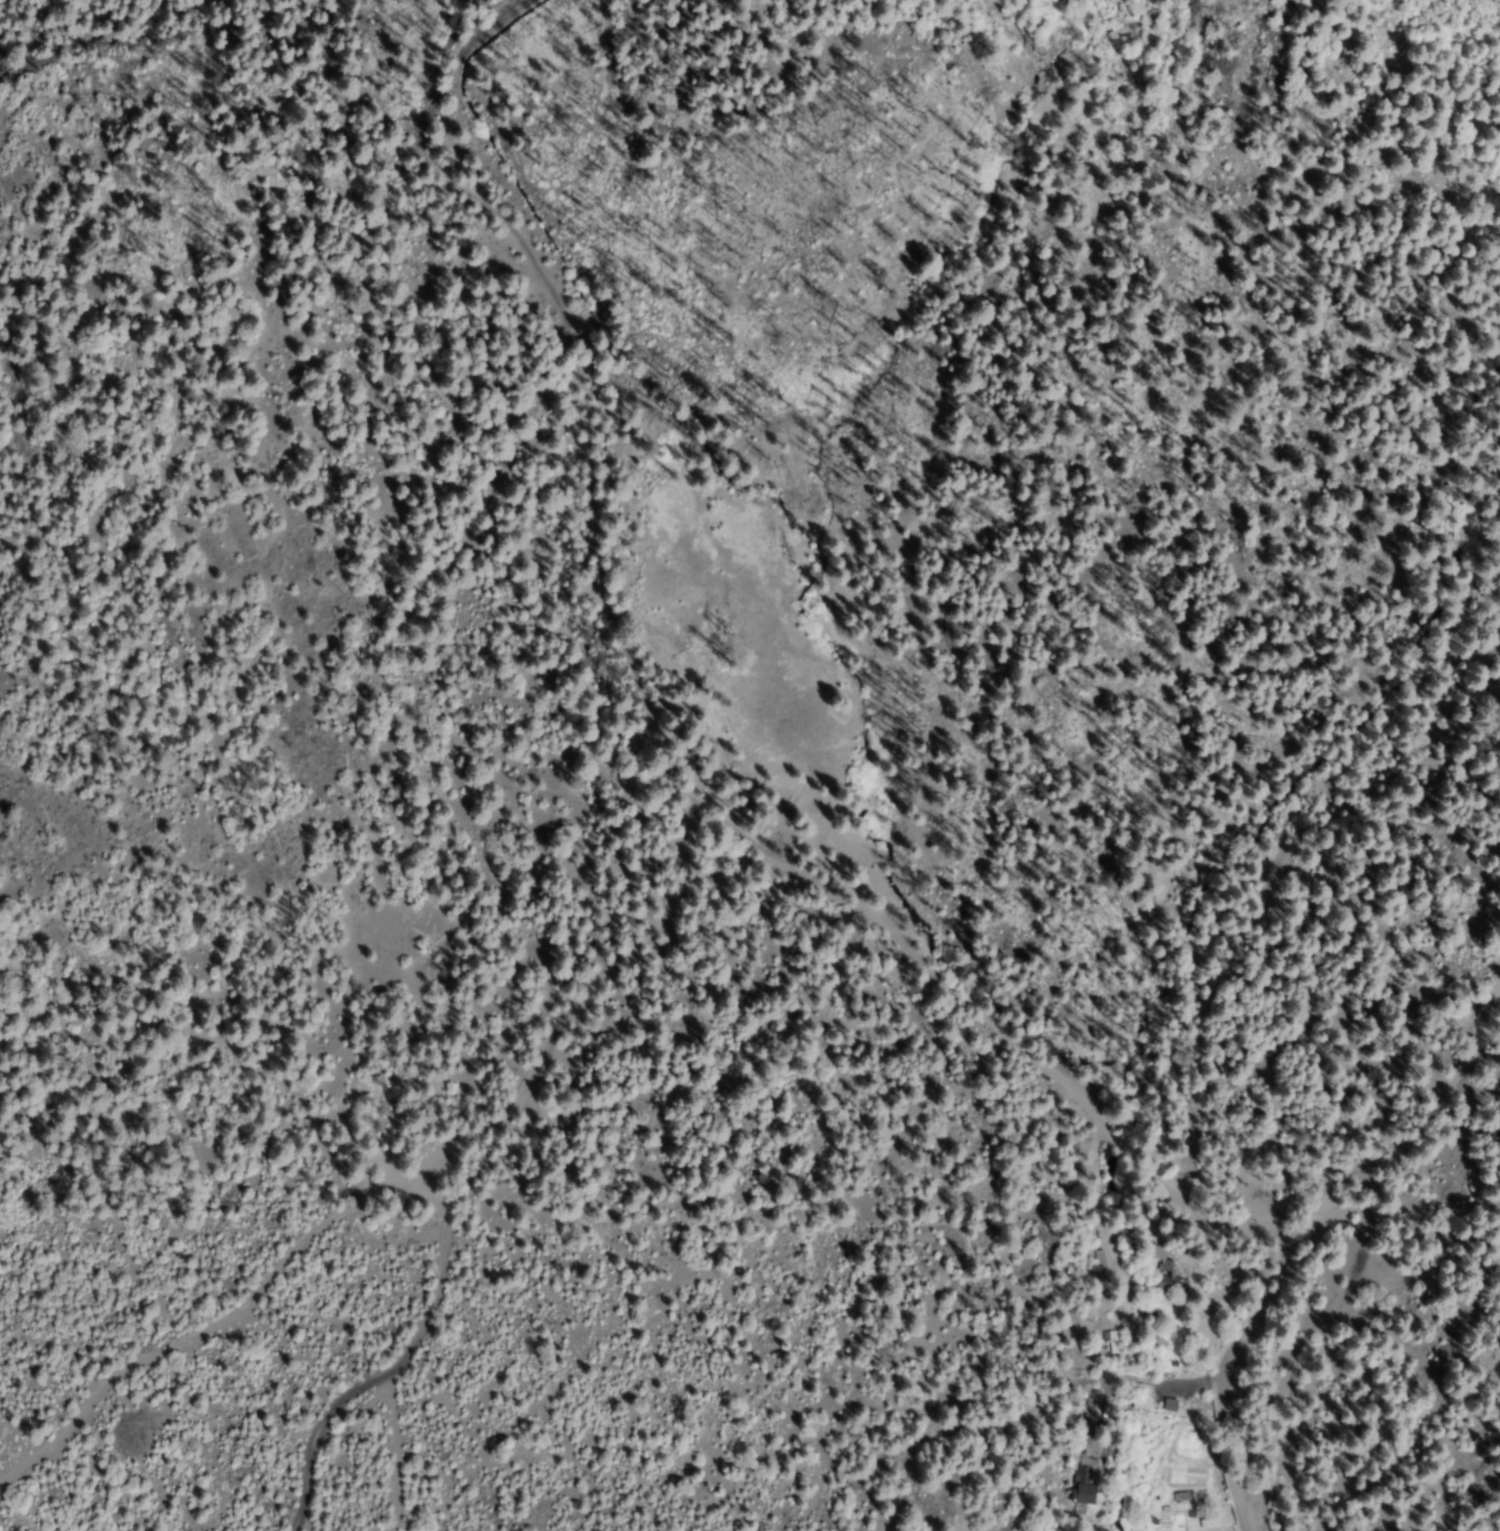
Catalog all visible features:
road: (194, 41)
road: (553, 419)
road: (1020, 1037)
road: (371, 1197)
road: (1331, 1304)
road: (333, 1351)

